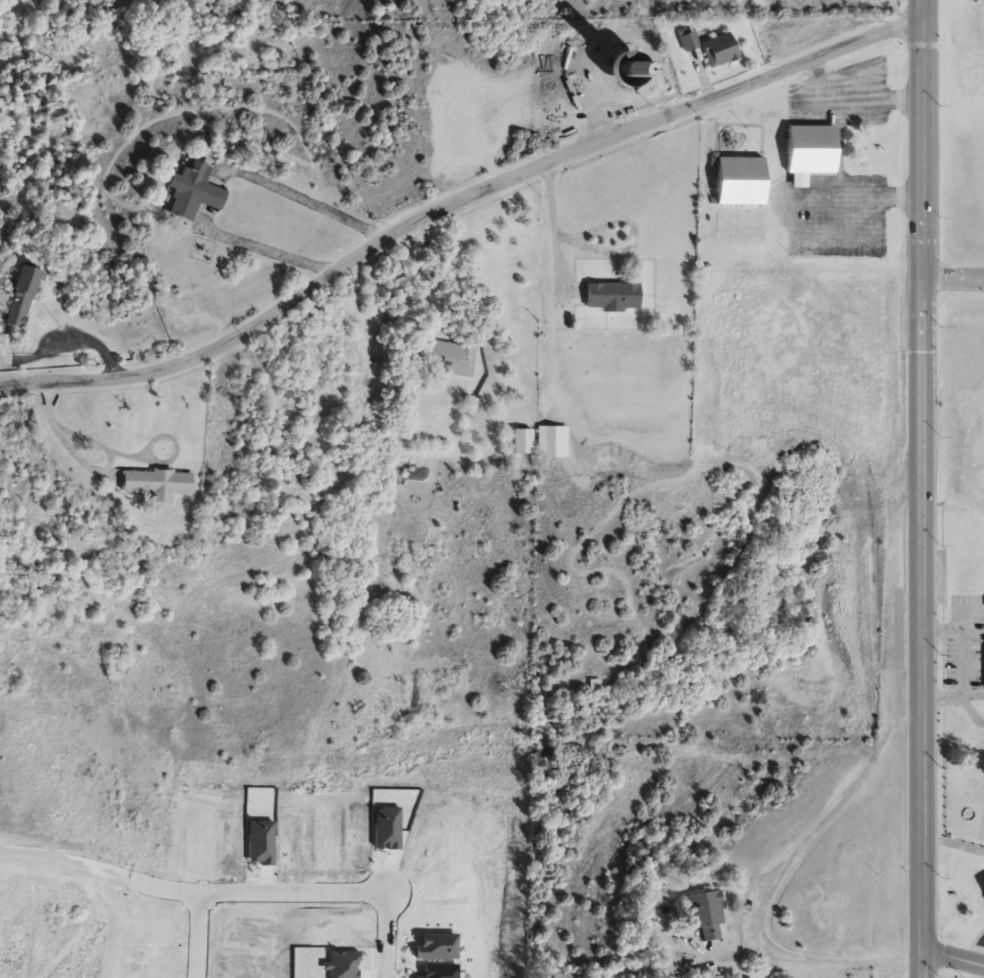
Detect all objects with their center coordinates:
building: (711, 49)
road: (839, 105)
building: (808, 154)
building: (737, 183)
building: (193, 194)
road: (302, 195)
road: (214, 199)
road: (455, 204)
road: (791, 217)
road: (265, 248)
road: (549, 271)
road: (953, 278)
road: (411, 289)
building: (19, 297)
building: (612, 298)
road: (75, 336)
building: (451, 357)
building: (522, 443)
building: (553, 443)
road: (87, 465)
building: (155, 485)
road: (923, 488)
road: (826, 815)
road: (139, 880)
road: (331, 893)
building: (705, 919)
road: (976, 947)
road: (953, 956)
road: (819, 960)

